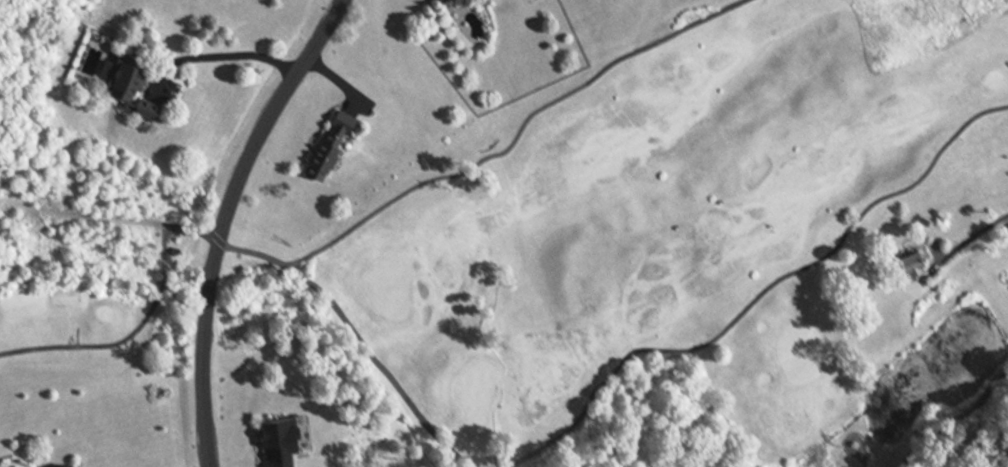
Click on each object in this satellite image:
building: (455, 2)
road: (223, 54)
building: (119, 79)
building: (145, 113)
building: (331, 142)
road: (219, 218)
park: (82, 232)
road: (976, 232)
park: (660, 240)
building: (912, 263)
building: (284, 441)
building: (69, 466)

